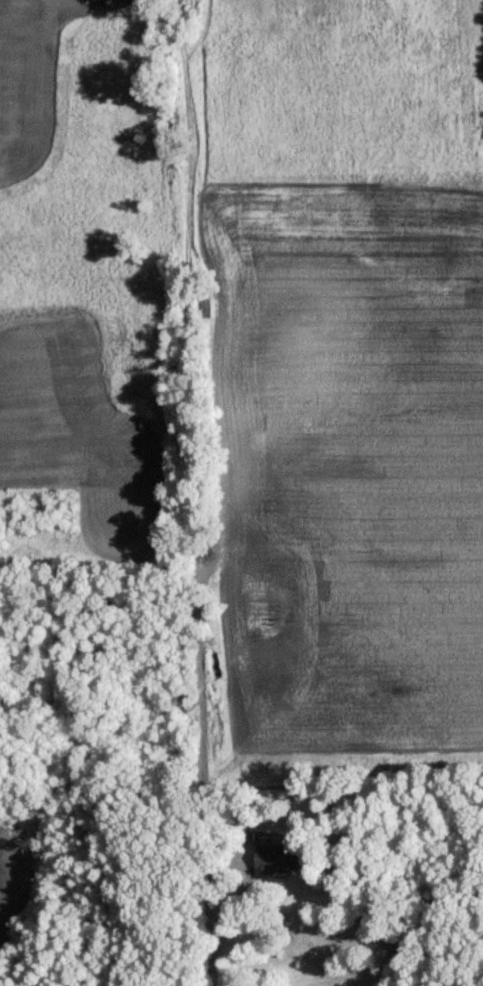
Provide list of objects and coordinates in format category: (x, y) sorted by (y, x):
building: (284, 850)
road: (202, 893)

